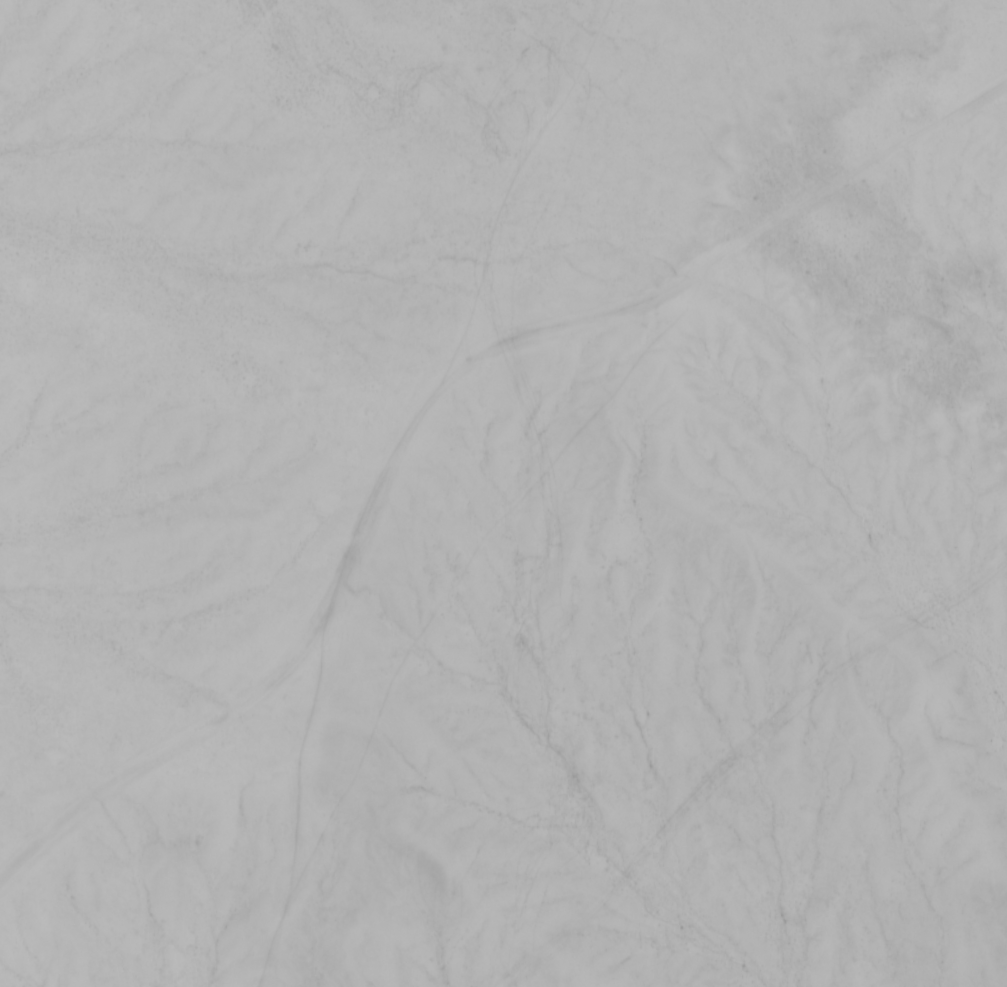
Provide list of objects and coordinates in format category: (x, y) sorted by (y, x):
road: (550, 386)

